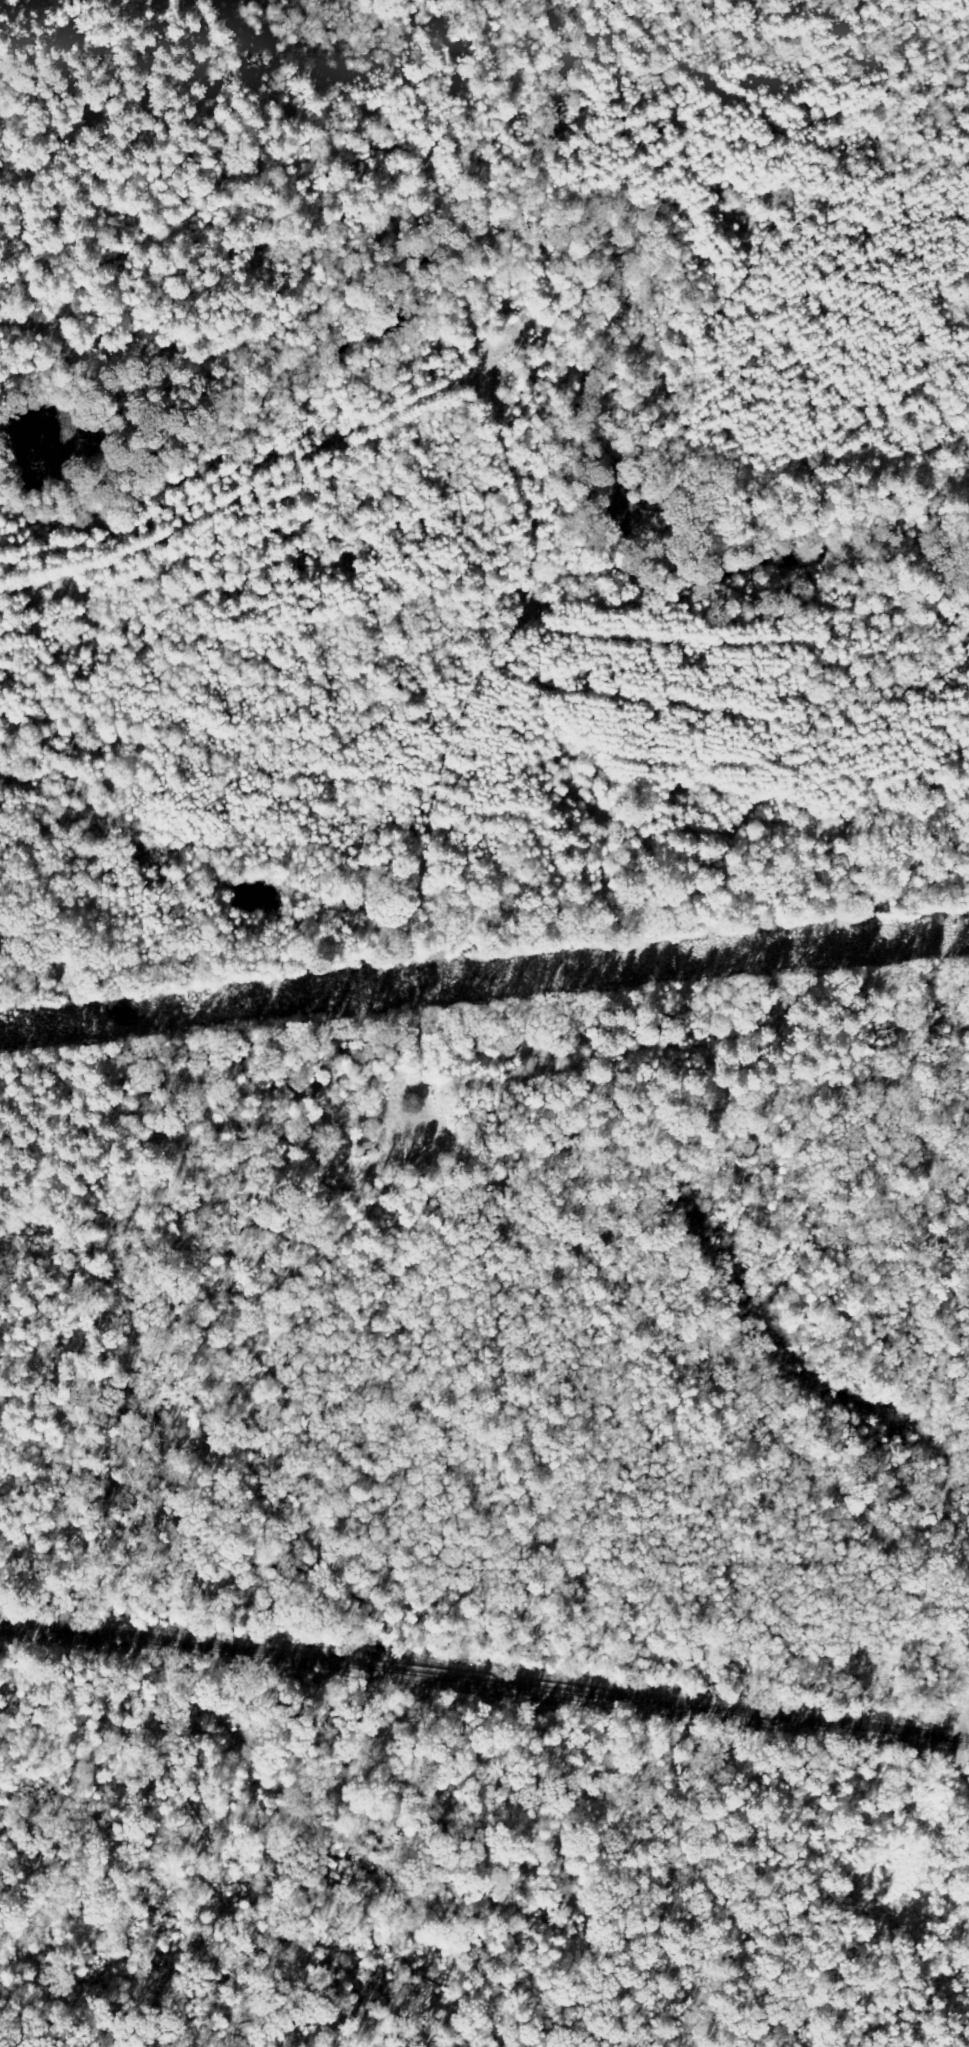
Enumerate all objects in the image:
power tower: (675, 964)
road: (851, 1447)
railway: (484, 1681)

